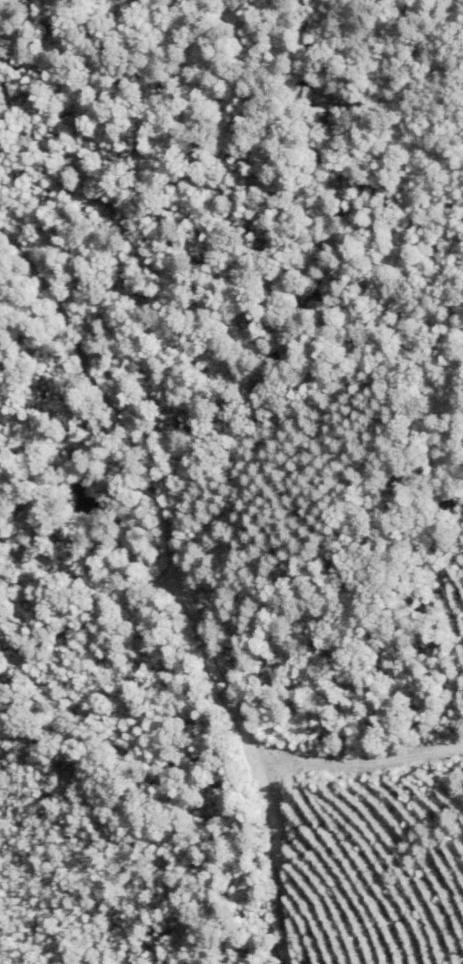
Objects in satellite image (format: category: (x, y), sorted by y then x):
road: (160, 567)
road: (80, 624)

